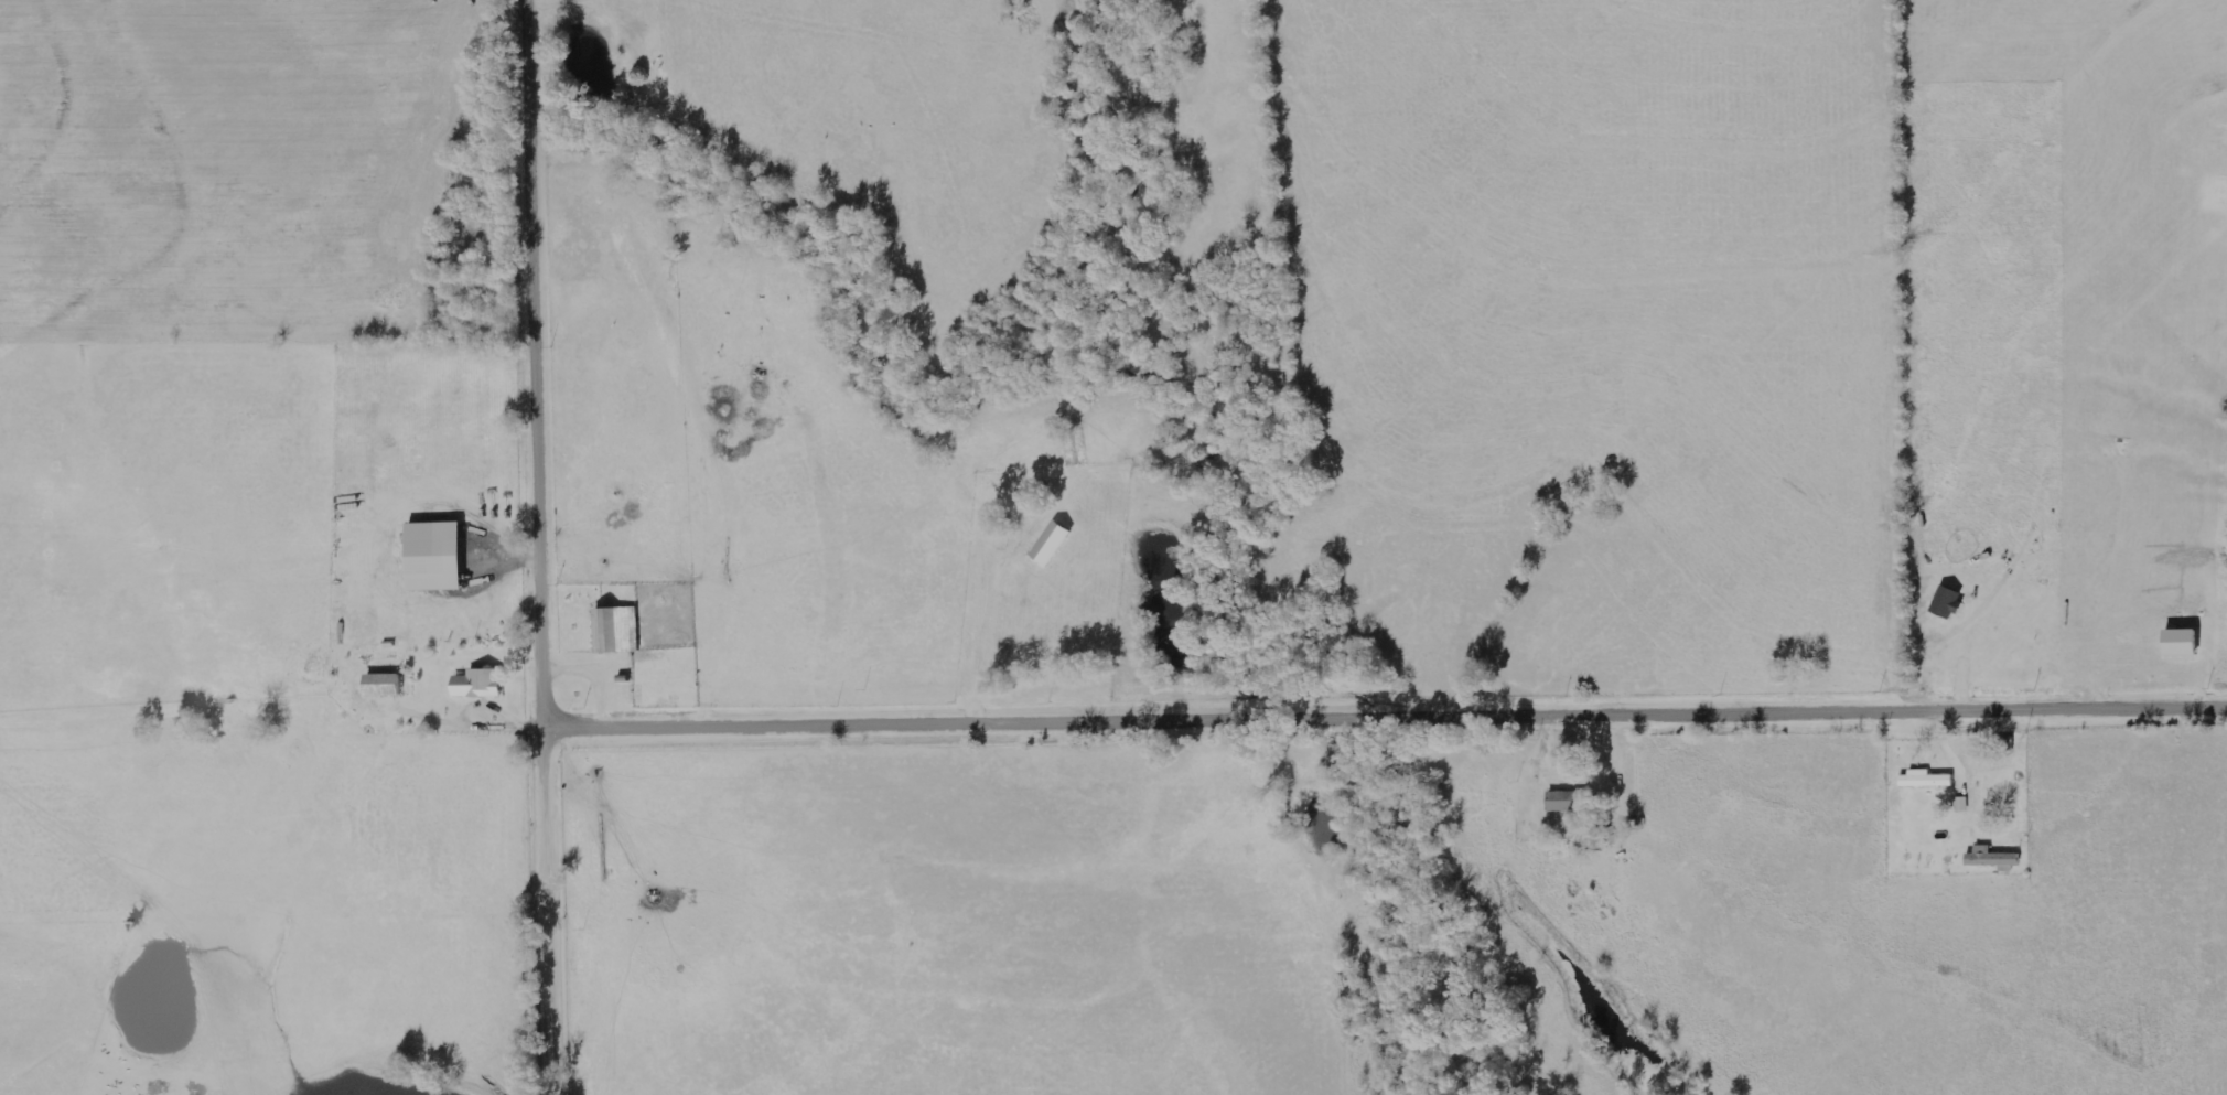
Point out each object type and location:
building: (1048, 544)
road: (550, 547)
building: (431, 556)
building: (1945, 602)
building: (614, 630)
building: (2177, 644)
building: (475, 684)
building: (379, 685)
road: (1390, 721)
building: (1923, 779)
building: (1567, 801)
building: (1959, 803)
building: (1989, 857)

